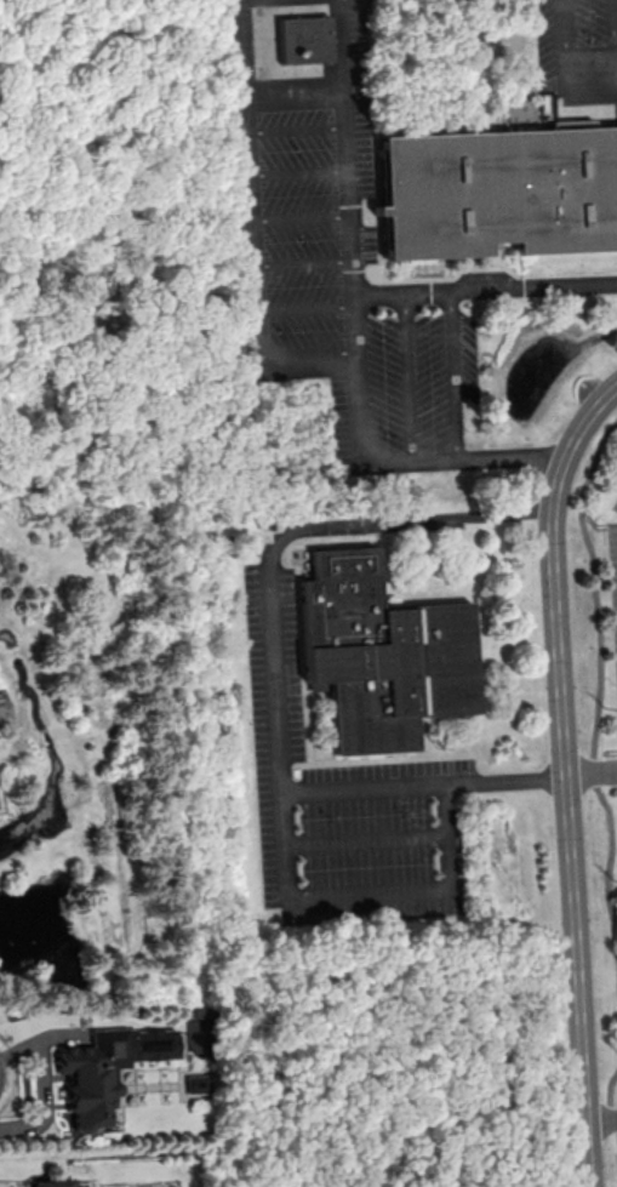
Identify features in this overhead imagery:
building: (305, 39)
building: (572, 122)
road: (256, 181)
building: (501, 190)
road: (484, 289)
road: (353, 330)
road: (312, 360)
fountain: (536, 370)
road: (434, 518)
road: (274, 644)
building: (383, 652)
road: (592, 771)
road: (566, 777)
road: (423, 783)
road: (366, 838)
road: (367, 891)
building: (108, 1068)
road: (601, 1117)
building: (53, 1182)

